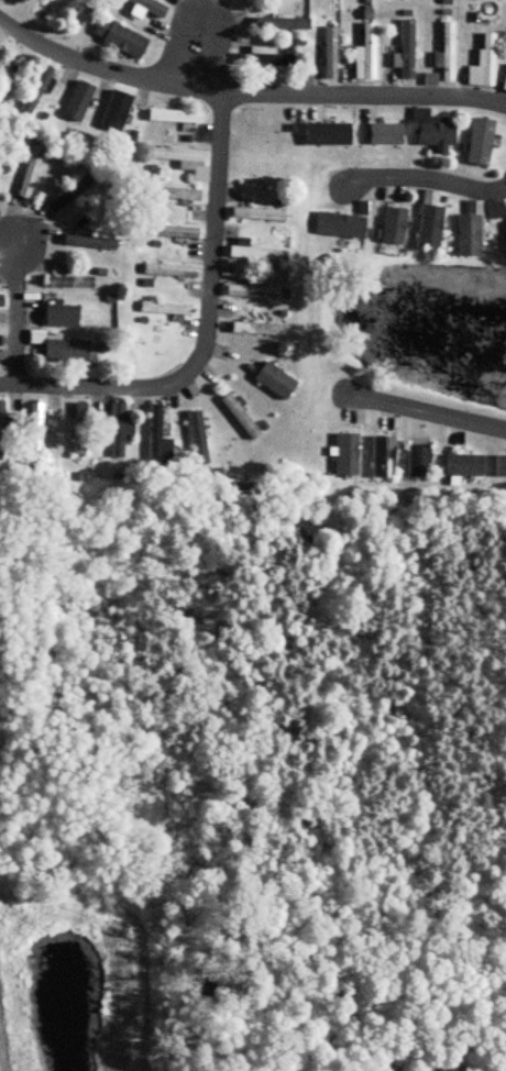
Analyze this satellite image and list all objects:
building: (147, 5)
building: (277, 23)
building: (117, 37)
building: (404, 51)
building: (444, 54)
building: (362, 55)
road: (190, 57)
building: (261, 57)
building: (480, 64)
building: (503, 81)
building: (34, 90)
road: (245, 93)
building: (112, 111)
building: (172, 117)
building: (427, 130)
building: (322, 134)
building: (381, 135)
building: (476, 143)
building: (182, 161)
building: (28, 172)
road: (420, 178)
building: (68, 192)
building: (174, 194)
building: (253, 214)
building: (334, 225)
building: (388, 227)
building: (426, 228)
building: (167, 232)
building: (465, 232)
building: (86, 242)
building: (249, 253)
building: (166, 270)
building: (68, 283)
building: (248, 292)
road: (18, 306)
building: (163, 309)
building: (65, 316)
road: (205, 330)
building: (253, 330)
building: (59, 349)
building: (269, 380)
road: (425, 412)
building: (235, 416)
building: (32, 428)
building: (78, 428)
building: (117, 430)
building: (154, 435)
building: (194, 438)
building: (342, 455)
building: (378, 455)
building: (415, 461)
building: (461, 464)
building: (498, 466)

